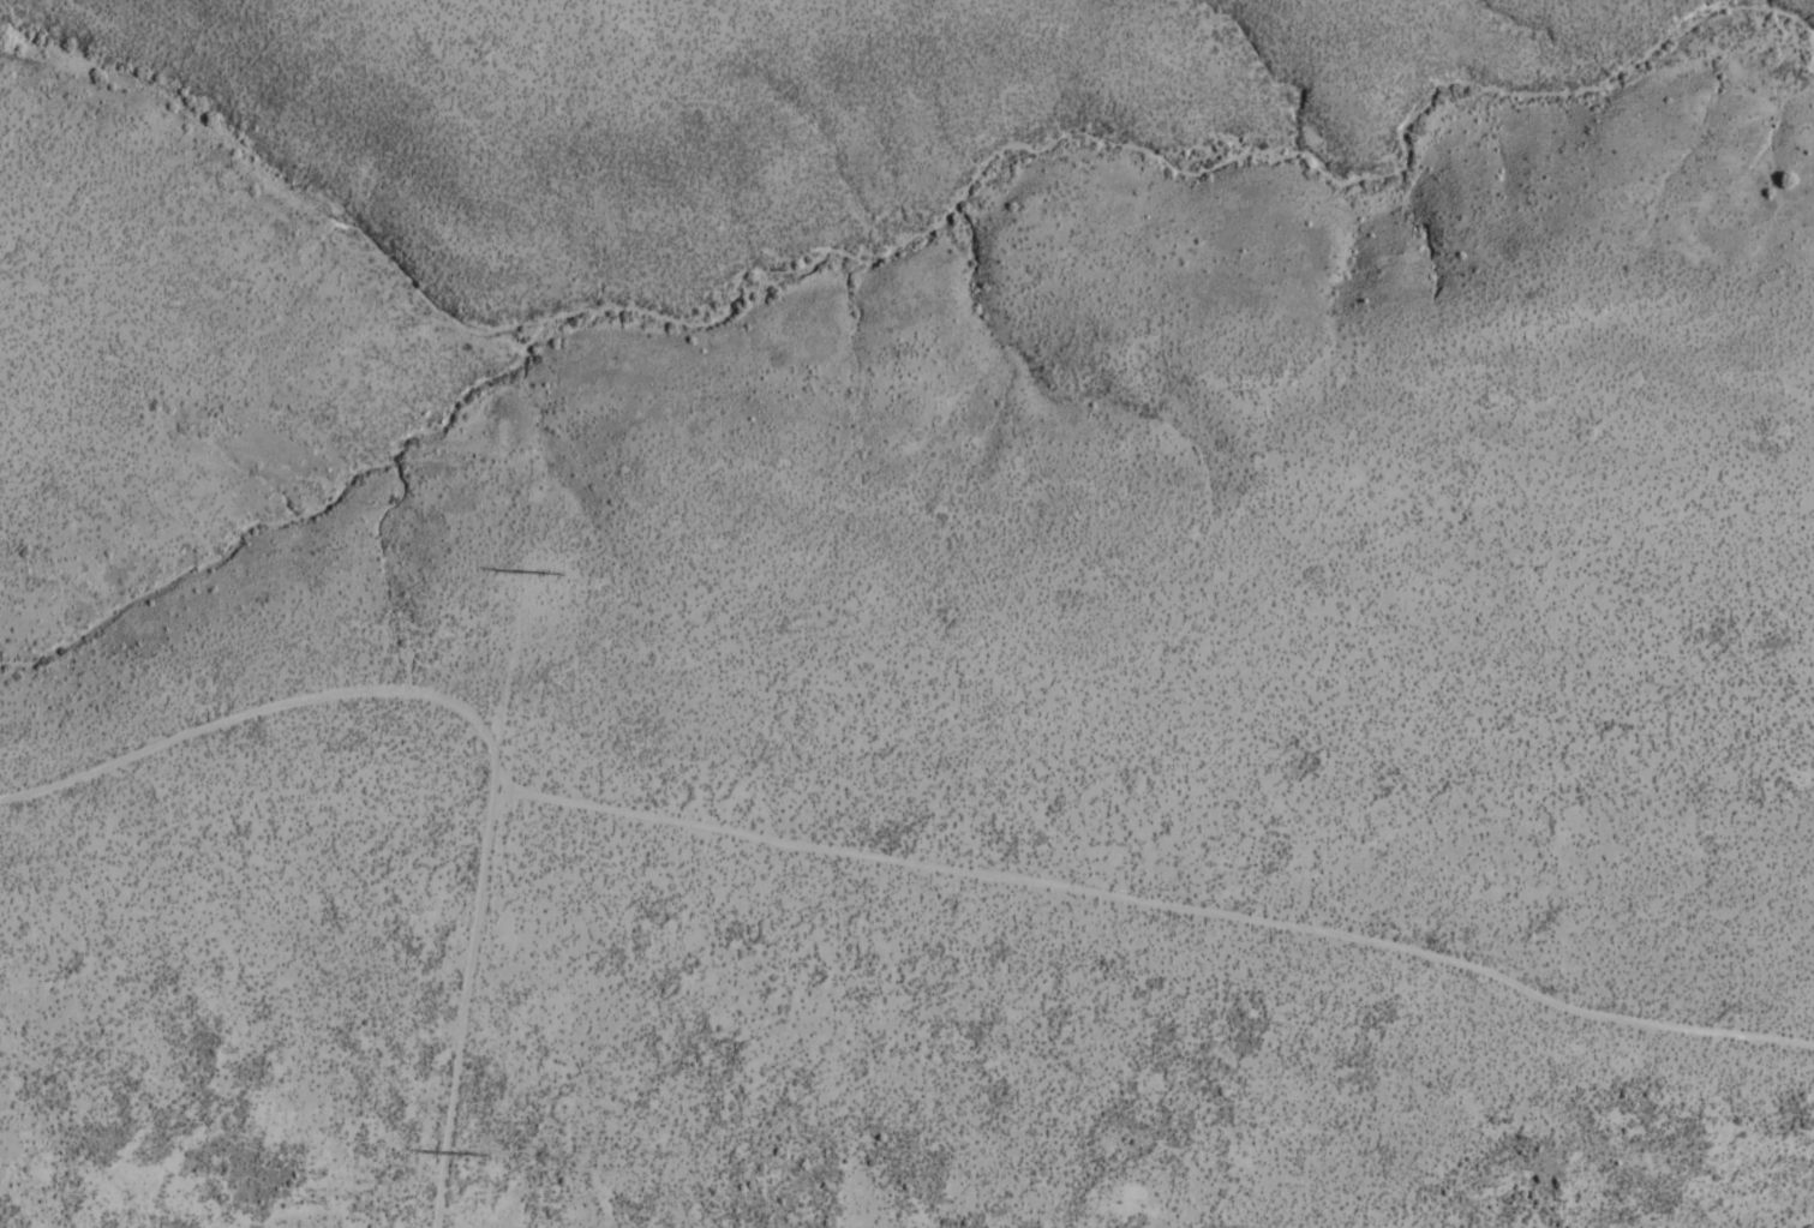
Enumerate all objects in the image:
power tower: (549, 571)
road: (474, 730)
power tower: (477, 1152)

